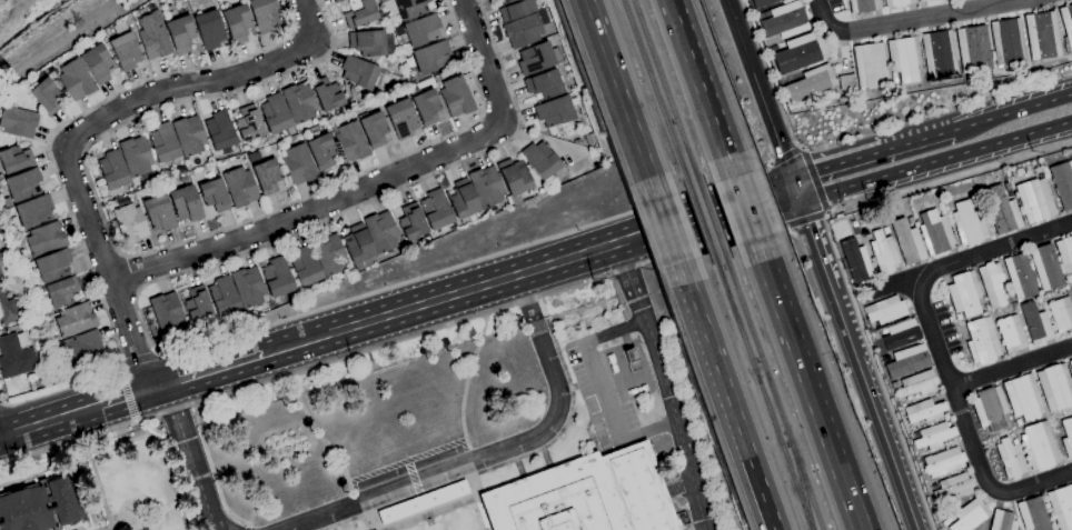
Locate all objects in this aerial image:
building: (334, 0)
building: (923, 0)
building: (337, 1)
building: (896, 2)
building: (765, 3)
building: (863, 6)
building: (405, 9)
building: (515, 9)
building: (359, 13)
building: (264, 14)
building: (784, 20)
road: (911, 20)
building: (237, 23)
building: (1066, 23)
building: (209, 30)
building: (421, 30)
building: (524, 31)
building: (179, 34)
building: (1042, 36)
building: (153, 40)
building: (367, 42)
building: (1008, 42)
building: (972, 49)
building: (126, 51)
building: (768, 51)
building: (796, 53)
building: (939, 54)
building: (431, 57)
building: (537, 58)
building: (903, 59)
building: (97, 63)
building: (871, 67)
building: (360, 73)
building: (76, 80)
building: (810, 83)
building: (845, 84)
building: (544, 86)
road: (702, 88)
road: (757, 89)
railway: (666, 93)
building: (327, 94)
railway: (655, 94)
building: (46, 96)
building: (456, 97)
road: (619, 100)
building: (299, 102)
building: (425, 106)
building: (555, 111)
building: (276, 116)
building: (401, 119)
road: (982, 120)
building: (17, 122)
road: (1066, 123)
building: (248, 124)
road: (87, 129)
building: (373, 129)
building: (219, 131)
building: (188, 136)
road: (860, 136)
building: (590, 139)
building: (351, 142)
building: (578, 142)
building: (163, 143)
building: (320, 150)
building: (136, 157)
road: (787, 157)
building: (14, 159)
building: (540, 160)
building: (298, 163)
road: (841, 163)
road: (931, 163)
building: (181, 169)
road: (53, 170)
building: (112, 170)
building: (1, 177)
building: (266, 177)
building: (514, 179)
traffic signals: (791, 179)
building: (143, 180)
building: (1062, 183)
building: (21, 184)
road: (368, 184)
building: (239, 187)
building: (486, 187)
road: (795, 190)
building: (1008, 190)
building: (214, 196)
building: (461, 200)
building: (1034, 200)
building: (122, 201)
traffic signals: (800, 202)
building: (186, 203)
road: (693, 207)
road: (746, 208)
building: (435, 210)
building: (1000, 210)
building: (33, 211)
building: (158, 213)
railway: (711, 218)
building: (911, 220)
railway: (699, 221)
building: (410, 222)
road: (810, 222)
building: (129, 223)
building: (969, 223)
building: (854, 228)
building: (454, 229)
building: (885, 230)
road: (666, 231)
road: (701, 231)
building: (380, 232)
building: (934, 232)
building: (44, 239)
building: (906, 242)
building: (358, 248)
road: (159, 249)
road: (817, 252)
road: (835, 252)
building: (883, 252)
building: (1064, 253)
building: (328, 254)
road: (121, 256)
building: (1, 260)
building: (856, 261)
road: (553, 263)
building: (52, 266)
building: (1045, 267)
building: (305, 269)
road: (128, 274)
building: (1071, 274)
building: (1020, 277)
building: (1, 278)
building: (276, 278)
building: (1069, 282)
road: (893, 283)
building: (992, 283)
building: (248, 287)
building: (60, 291)
road: (137, 293)
building: (963, 293)
building: (224, 297)
building: (1071, 299)
building: (197, 306)
building: (7, 310)
building: (884, 310)
building: (167, 314)
building: (1060, 314)
road: (386, 316)
building: (75, 320)
building: (1035, 323)
building: (1010, 333)
building: (900, 334)
road: (398, 340)
building: (981, 341)
building: (83, 348)
road: (937, 350)
road: (179, 353)
building: (16, 356)
building: (632, 358)
building: (885, 359)
road: (140, 360)
road: (713, 361)
building: (907, 361)
building: (1070, 364)
road: (1011, 367)
road: (208, 371)
road: (667, 382)
road: (807, 384)
building: (916, 384)
road: (464, 386)
parking lot: (616, 386)
building: (1055, 387)
road: (603, 389)
railway: (771, 389)
railway: (762, 391)
road: (126, 393)
building: (1022, 398)
road: (117, 400)
road: (569, 410)
building: (990, 410)
building: (922, 411)
road: (876, 417)
road: (43, 423)
building: (933, 436)
building: (1066, 437)
road: (321, 440)
building: (1039, 447)
road: (494, 452)
road: (189, 458)
building: (1012, 458)
road: (545, 459)
road: (407, 461)
building: (943, 462)
road: (553, 467)
road: (519, 469)
road: (212, 471)
road: (467, 473)
road: (413, 477)
railway: (800, 483)
building: (954, 488)
road: (761, 494)
building: (584, 496)
building: (421, 502)
building: (40, 507)
building: (1061, 507)
road: (486, 514)
building: (1032, 514)
building: (970, 516)
building: (947, 521)
building: (1002, 521)
road: (340, 522)
road: (246, 529)

